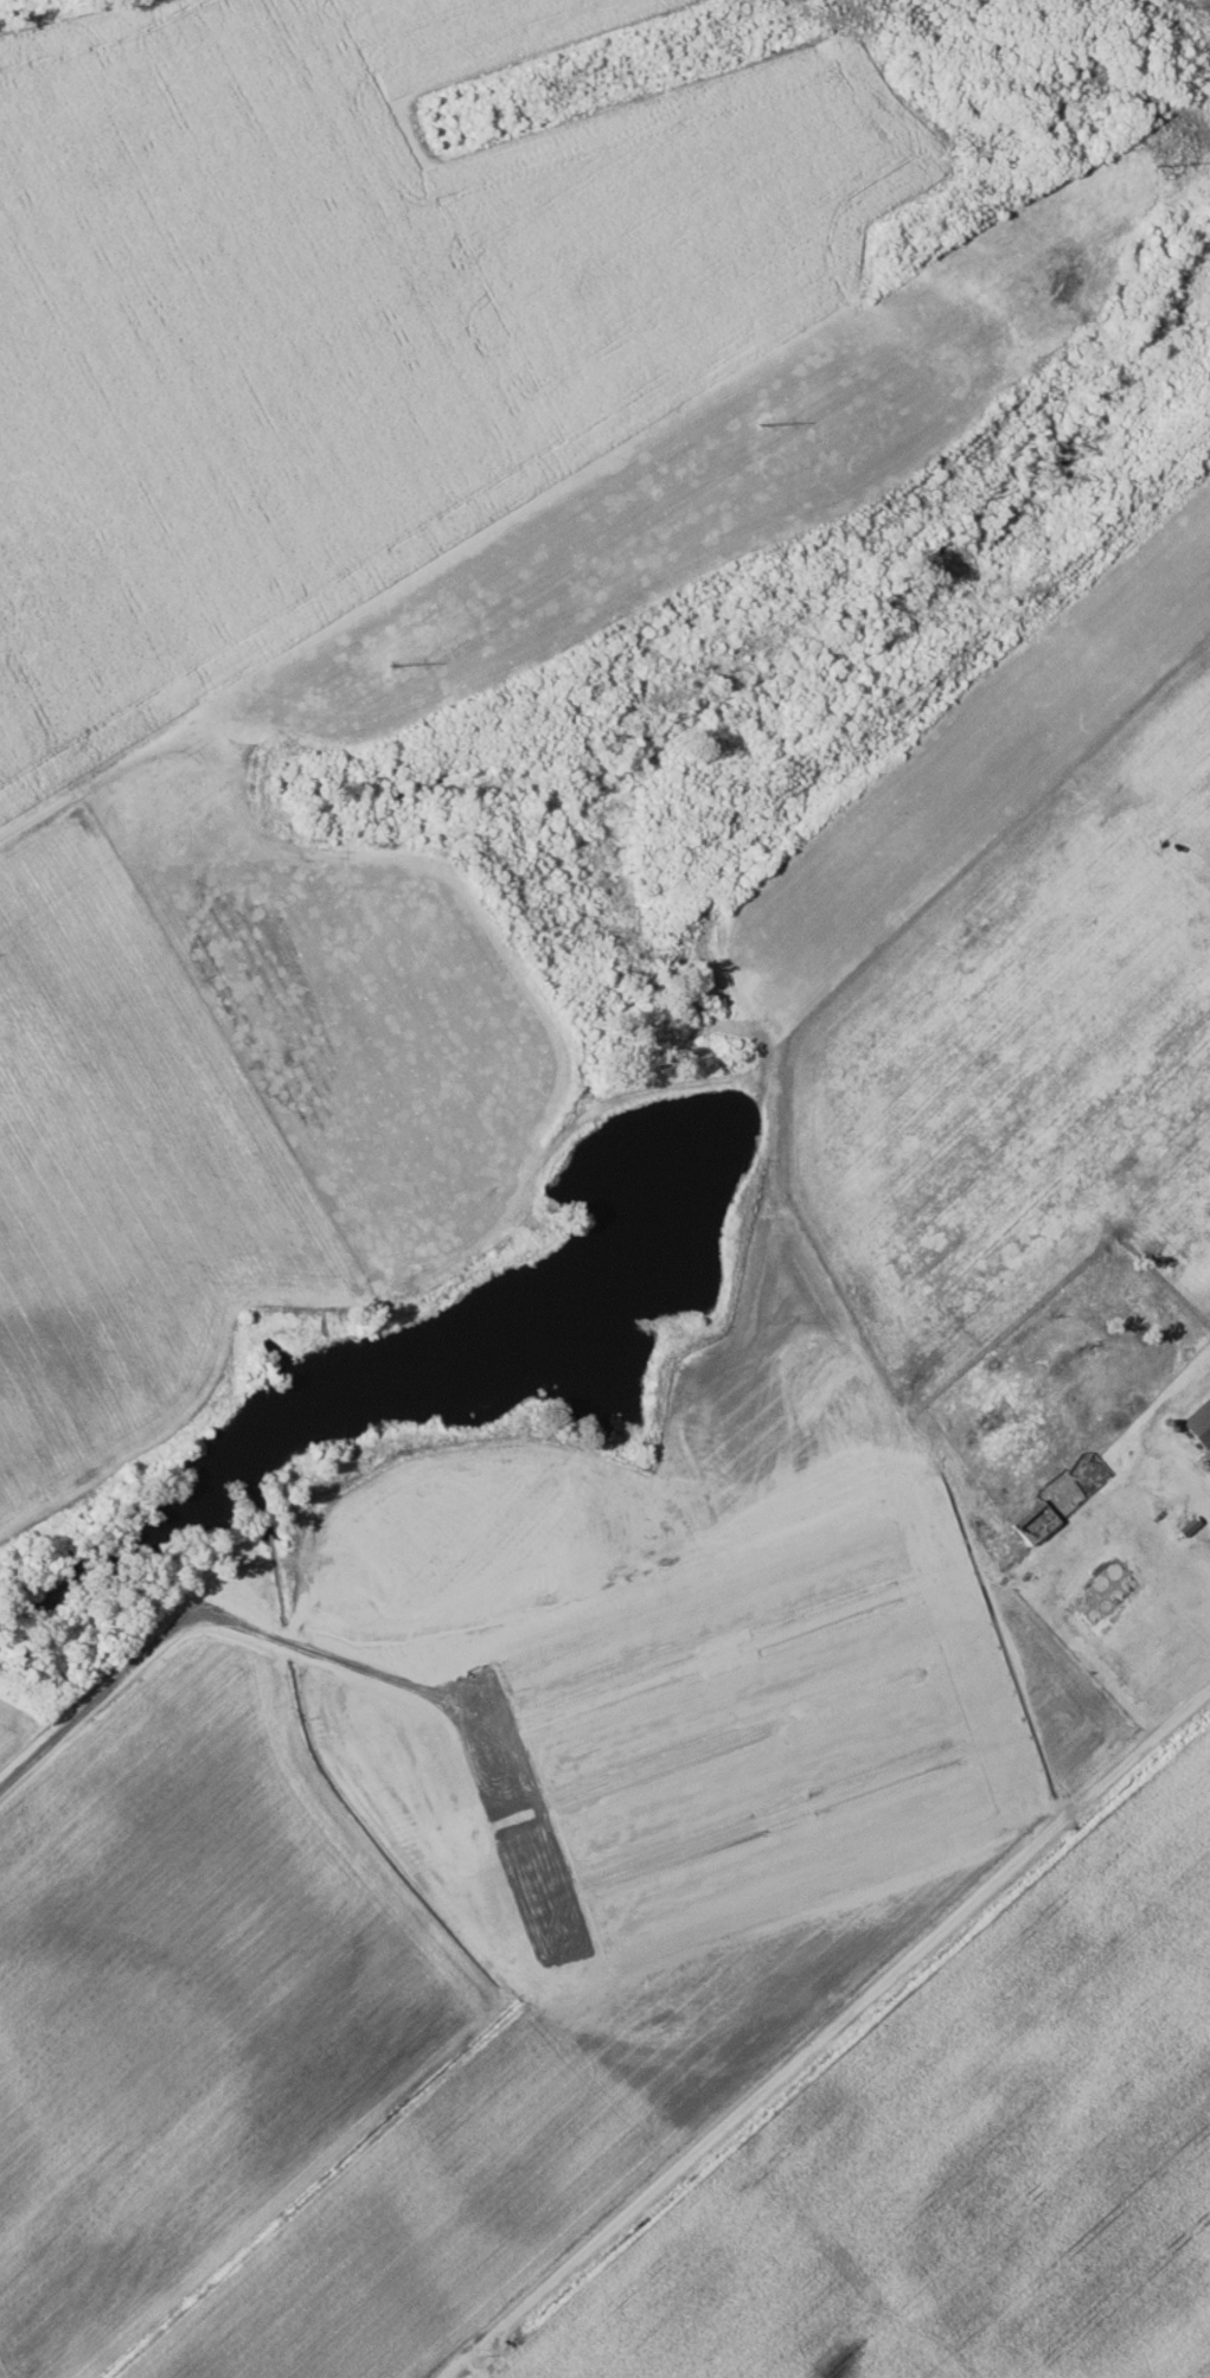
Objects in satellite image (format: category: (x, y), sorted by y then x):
power tower: (1157, 167)
power tower: (760, 424)
power tower: (389, 665)
building: (1201, 1425)

